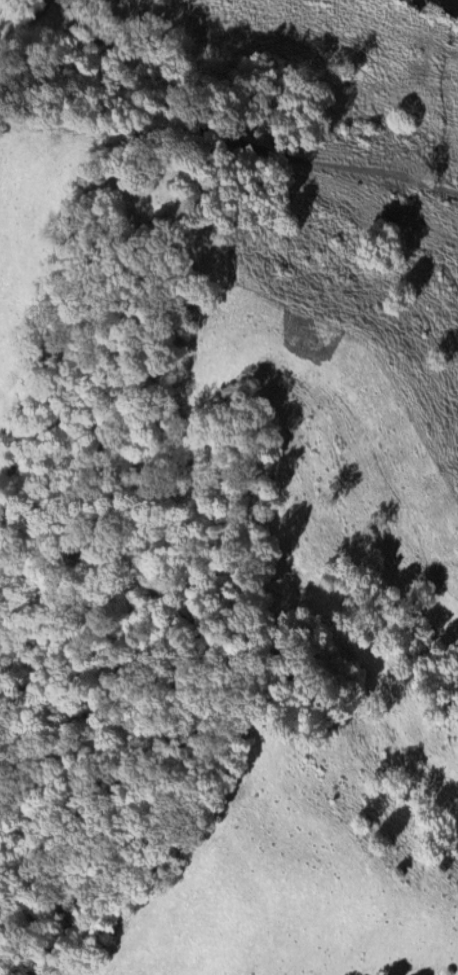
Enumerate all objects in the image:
road: (115, 130)

